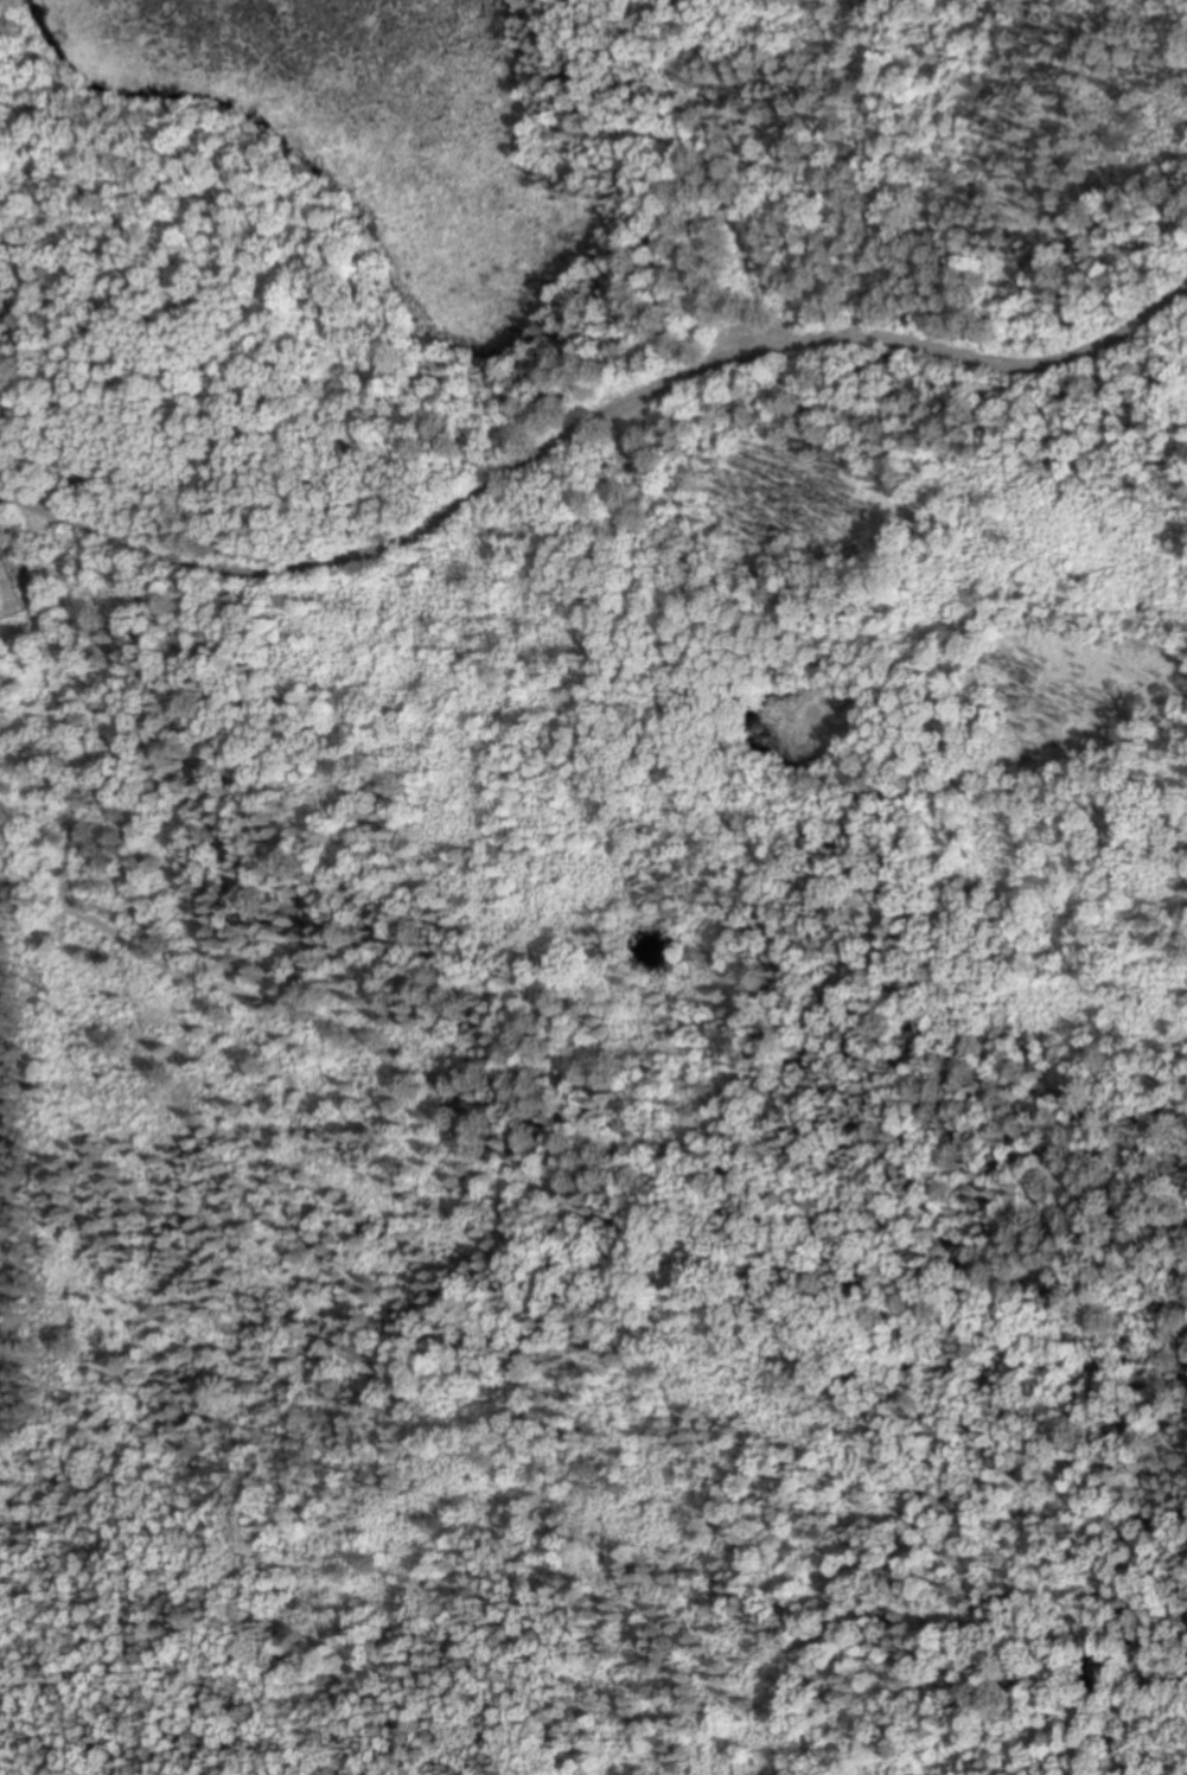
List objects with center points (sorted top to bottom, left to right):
road: (581, 426)

